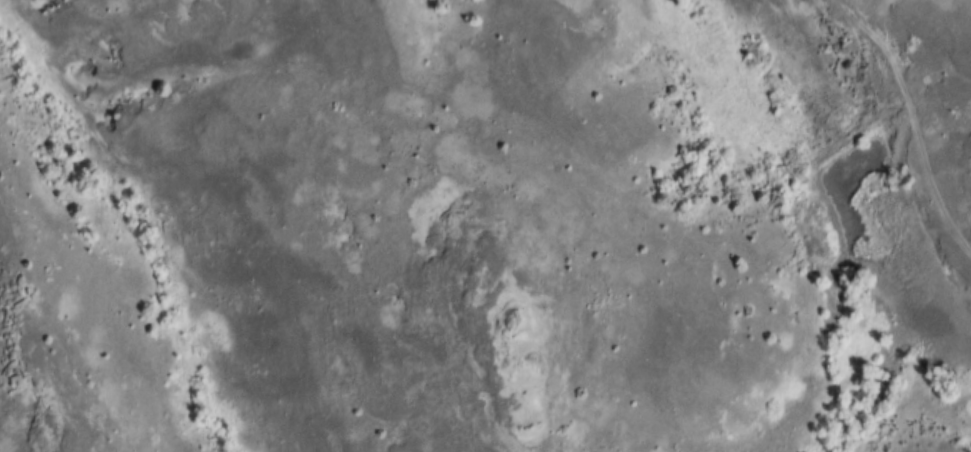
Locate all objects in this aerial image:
road: (910, 123)

